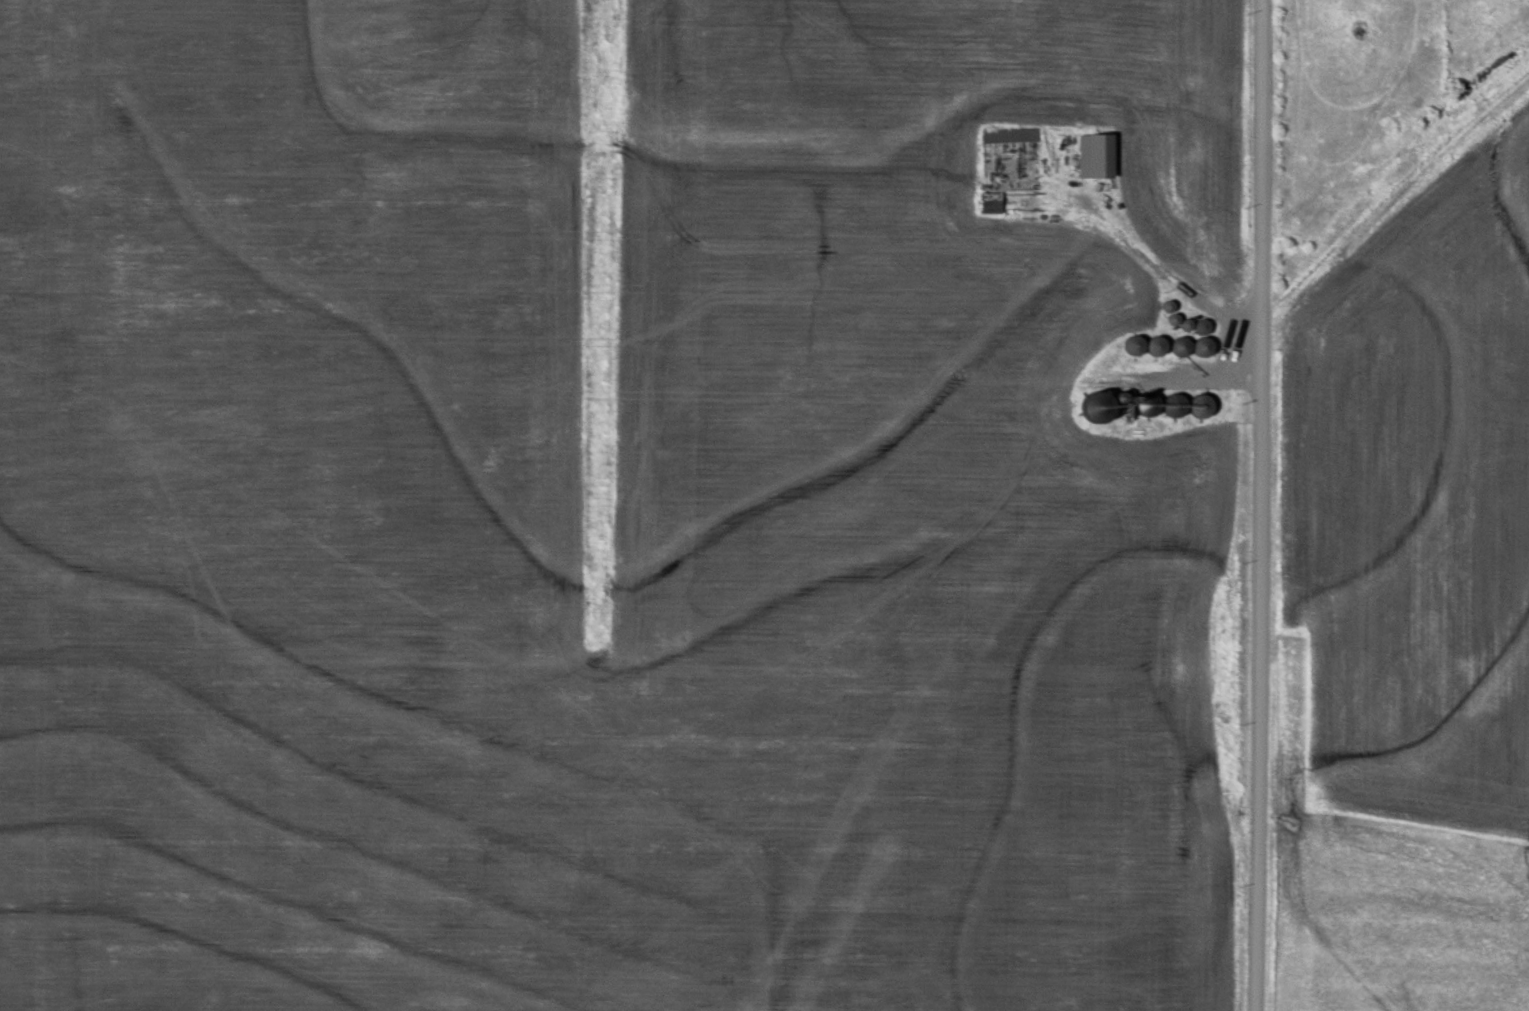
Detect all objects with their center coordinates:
building: (1094, 158)
building: (1181, 347)
building: (1203, 349)
building: (1201, 408)
crop: (926, 475)
crop: (1417, 502)
road: (1261, 505)

